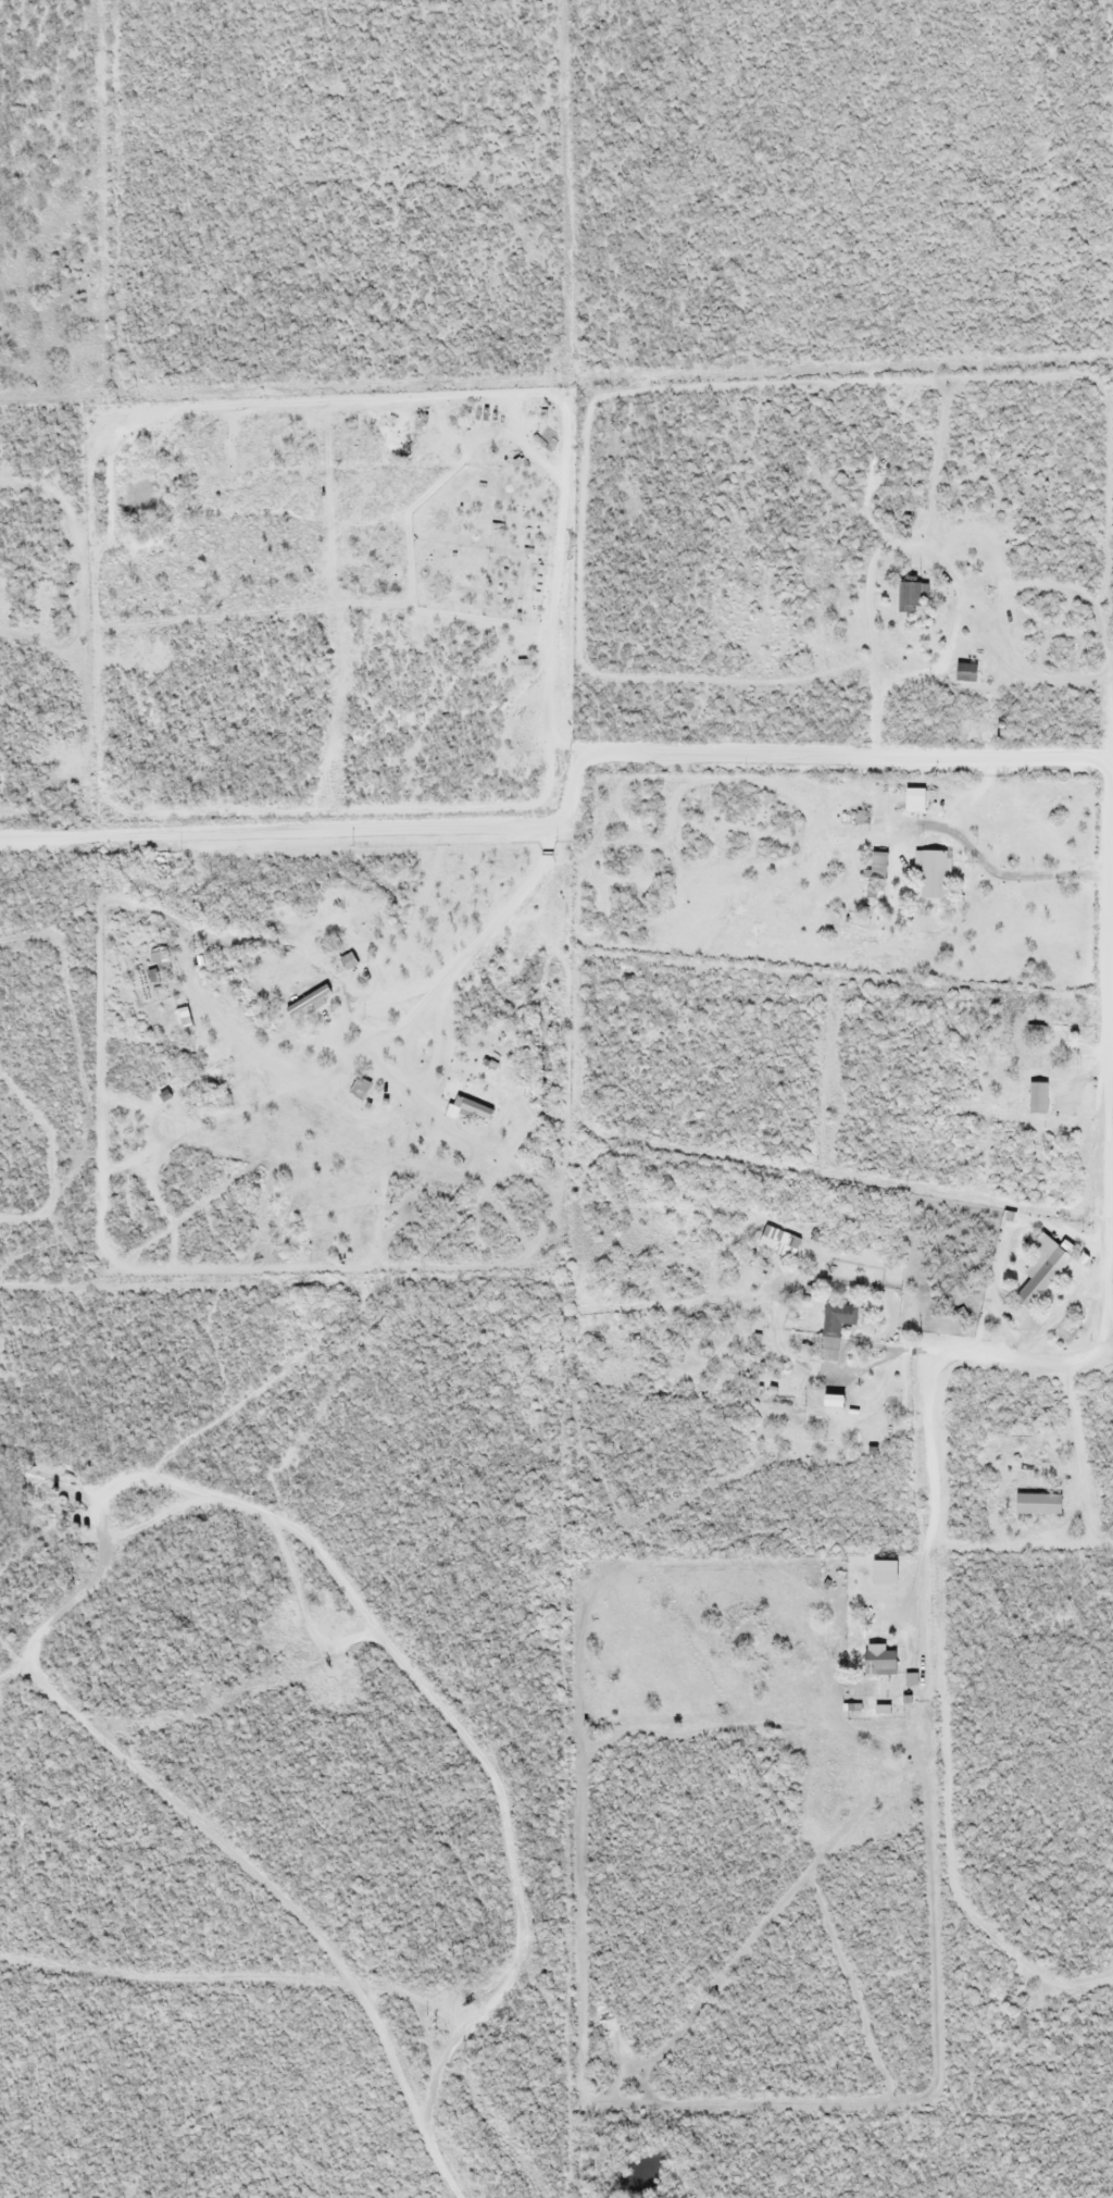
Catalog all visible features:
building: (908, 595)
building: (962, 672)
road: (1003, 755)
building: (910, 799)
building: (874, 865)
building: (930, 874)
building: (345, 961)
building: (303, 999)
road: (1109, 1020)
building: (1048, 1021)
building: (1066, 1047)
building: (775, 1242)
building: (1033, 1283)
building: (831, 1328)
building: (885, 1657)

